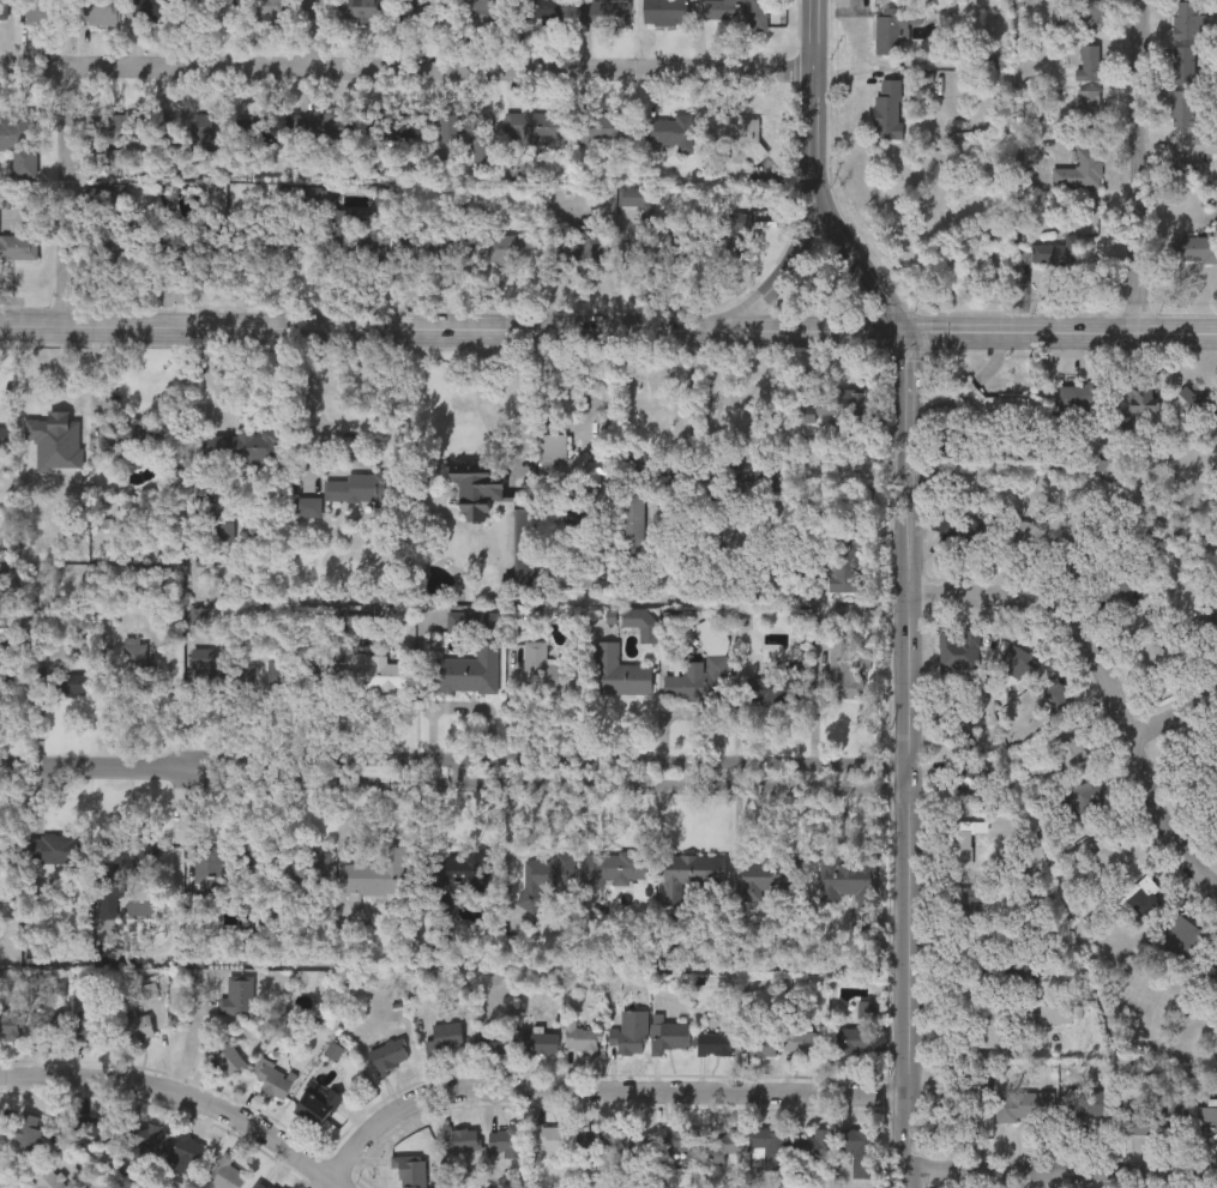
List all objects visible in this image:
building: (150, 8)
building: (2, 10)
building: (360, 10)
building: (537, 10)
building: (36, 11)
building: (95, 11)
building: (207, 11)
building: (264, 11)
building: (416, 11)
building: (480, 11)
building: (663, 11)
building: (603, 12)
building: (734, 12)
building: (1084, 14)
building: (1187, 19)
building: (995, 20)
building: (893, 25)
road: (318, 35)
building: (1089, 60)
building: (1183, 62)
road: (404, 70)
building: (1089, 104)
building: (1183, 104)
building: (887, 107)
building: (324, 123)
building: (398, 123)
building: (600, 123)
building: (183, 125)
building: (260, 125)
building: (534, 125)
building: (114, 126)
building: (13, 128)
building: (669, 129)
building: (468, 131)
building: (737, 133)
building: (1192, 151)
building: (1079, 167)
road: (1147, 168)
road: (811, 181)
road: (70, 194)
building: (118, 227)
building: (729, 237)
building: (350, 242)
building: (263, 243)
building: (18, 245)
building: (187, 245)
building: (576, 245)
building: (650, 245)
building: (427, 246)
building: (1198, 246)
building: (499, 248)
building: (1056, 251)
road: (778, 271)
road: (345, 324)
road: (709, 328)
road: (815, 331)
traffic signals: (905, 332)
road: (1060, 336)
road: (692, 388)
road: (309, 393)
road: (716, 396)
building: (1079, 398)
building: (1144, 398)
road: (481, 402)
building: (994, 411)
building: (824, 416)
building: (52, 433)
building: (126, 433)
building: (4, 434)
road: (335, 438)
building: (240, 445)
building: (552, 446)
building: (30, 483)
building: (474, 486)
building: (1018, 536)
building: (1070, 560)
building: (842, 568)
building: (1120, 589)
building: (958, 647)
building: (1155, 653)
building: (468, 661)
building: (1014, 661)
building: (129, 669)
building: (218, 669)
building: (544, 669)
building: (843, 669)
building: (299, 670)
building: (373, 670)
building: (619, 671)
building: (4, 673)
road: (1102, 676)
building: (697, 680)
building: (59, 681)
building: (776, 683)
building: (1050, 693)
road: (1173, 712)
building: (962, 718)
building: (1070, 746)
road: (542, 759)
road: (904, 759)
road: (91, 764)
building: (972, 780)
road: (541, 783)
building: (1080, 800)
building: (55, 848)
building: (1109, 849)
building: (5, 850)
building: (299, 863)
building: (121, 866)
building: (615, 867)
building: (376, 870)
building: (688, 872)
building: (769, 874)
building: (849, 874)
building: (215, 875)
building: (454, 875)
building: (544, 875)
building: (1141, 895)
building: (1181, 936)
building: (1212, 975)
building: (236, 996)
building: (47, 1024)
building: (10, 1025)
building: (86, 1026)
building: (134, 1026)
building: (628, 1030)
building: (668, 1033)
building: (444, 1036)
building: (579, 1036)
building: (796, 1037)
building: (494, 1038)
building: (540, 1039)
building: (847, 1039)
building: (712, 1041)
building: (757, 1043)
building: (387, 1053)
building: (228, 1055)
building: (272, 1077)
road: (601, 1090)
road: (186, 1096)
building: (962, 1103)
building: (1089, 1103)
building: (315, 1105)
building: (1024, 1106)
building: (1155, 1115)
building: (1207, 1117)
building: (95, 1124)
building: (26, 1129)
building: (549, 1135)
building: (592, 1136)
building: (140, 1138)
building: (462, 1138)
building: (506, 1139)
building: (680, 1139)
building: (727, 1139)
building: (637, 1144)
building: (769, 1144)
building: (813, 1146)
building: (858, 1147)
building: (185, 1151)
road: (1060, 1168)
building: (408, 1169)
building: (225, 1172)
building: (47, 1178)
building: (261, 1183)
building: (446, 1187)

